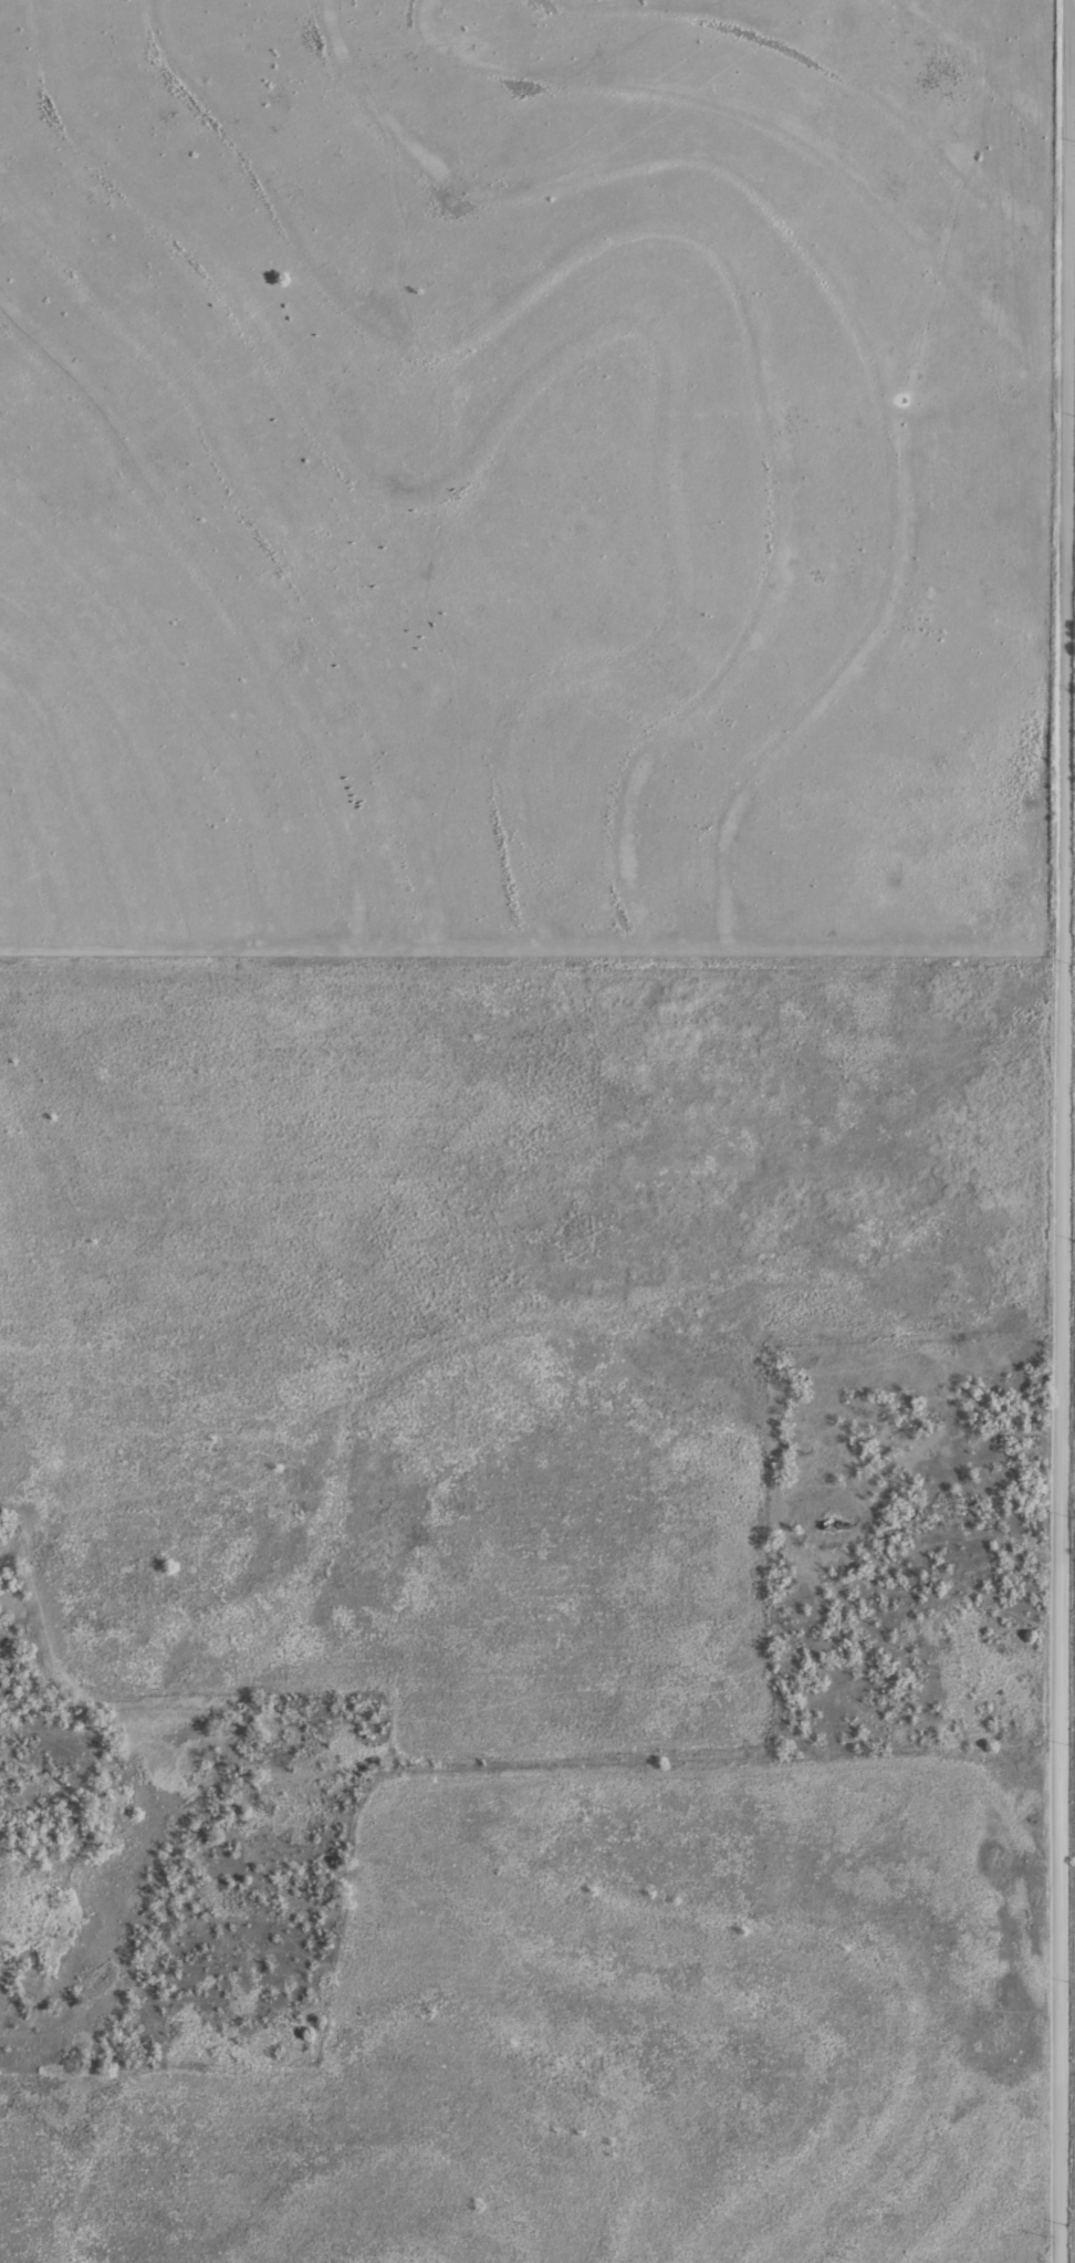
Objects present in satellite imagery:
road: (1066, 1130)

